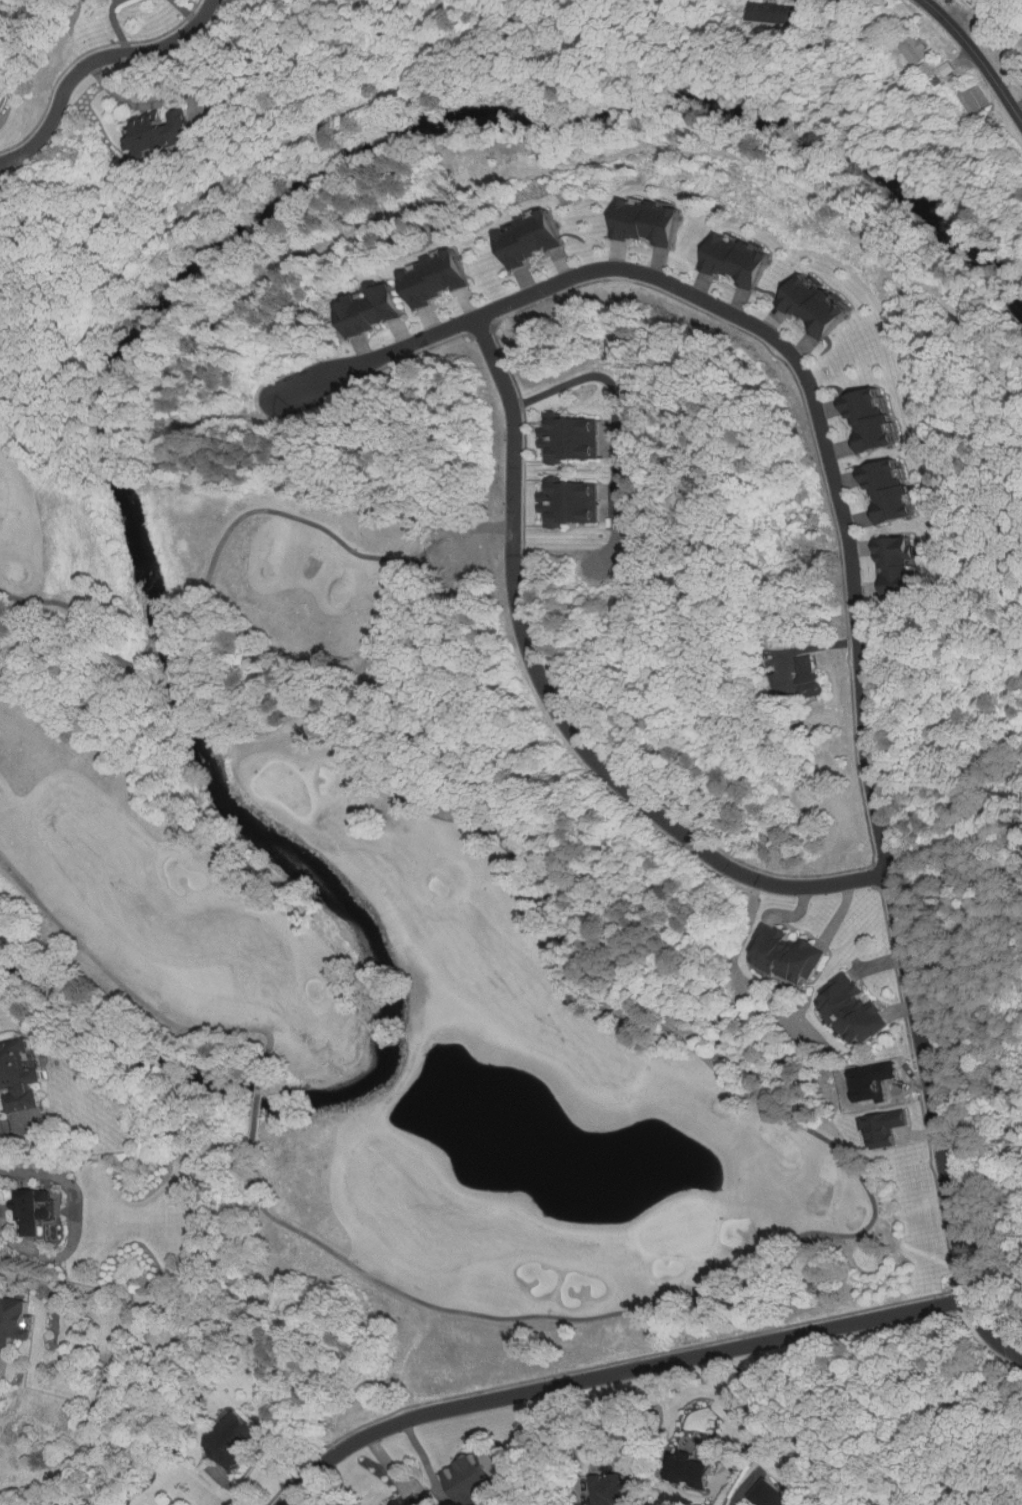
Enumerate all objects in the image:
building: (787, 16)
building: (923, 56)
road: (978, 56)
road: (92, 66)
building: (0, 82)
building: (1, 95)
building: (183, 136)
building: (656, 222)
building: (538, 239)
building: (745, 261)
building: (441, 278)
building: (823, 307)
building: (377, 309)
road: (612, 413)
building: (878, 420)
building: (572, 440)
building: (895, 492)
building: (571, 504)
building: (906, 567)
road: (854, 598)
building: (822, 684)
road: (556, 705)
park: (286, 786)
building: (797, 957)
building: (857, 1010)
building: (24, 1076)
building: (36, 1213)
park: (679, 1230)
building: (18, 1325)
road: (614, 1375)
road: (748, 1427)
building: (237, 1445)
building: (701, 1472)
building: (477, 1481)
building: (619, 1490)
building: (775, 1496)
building: (418, 1501)
road: (731, 1504)

